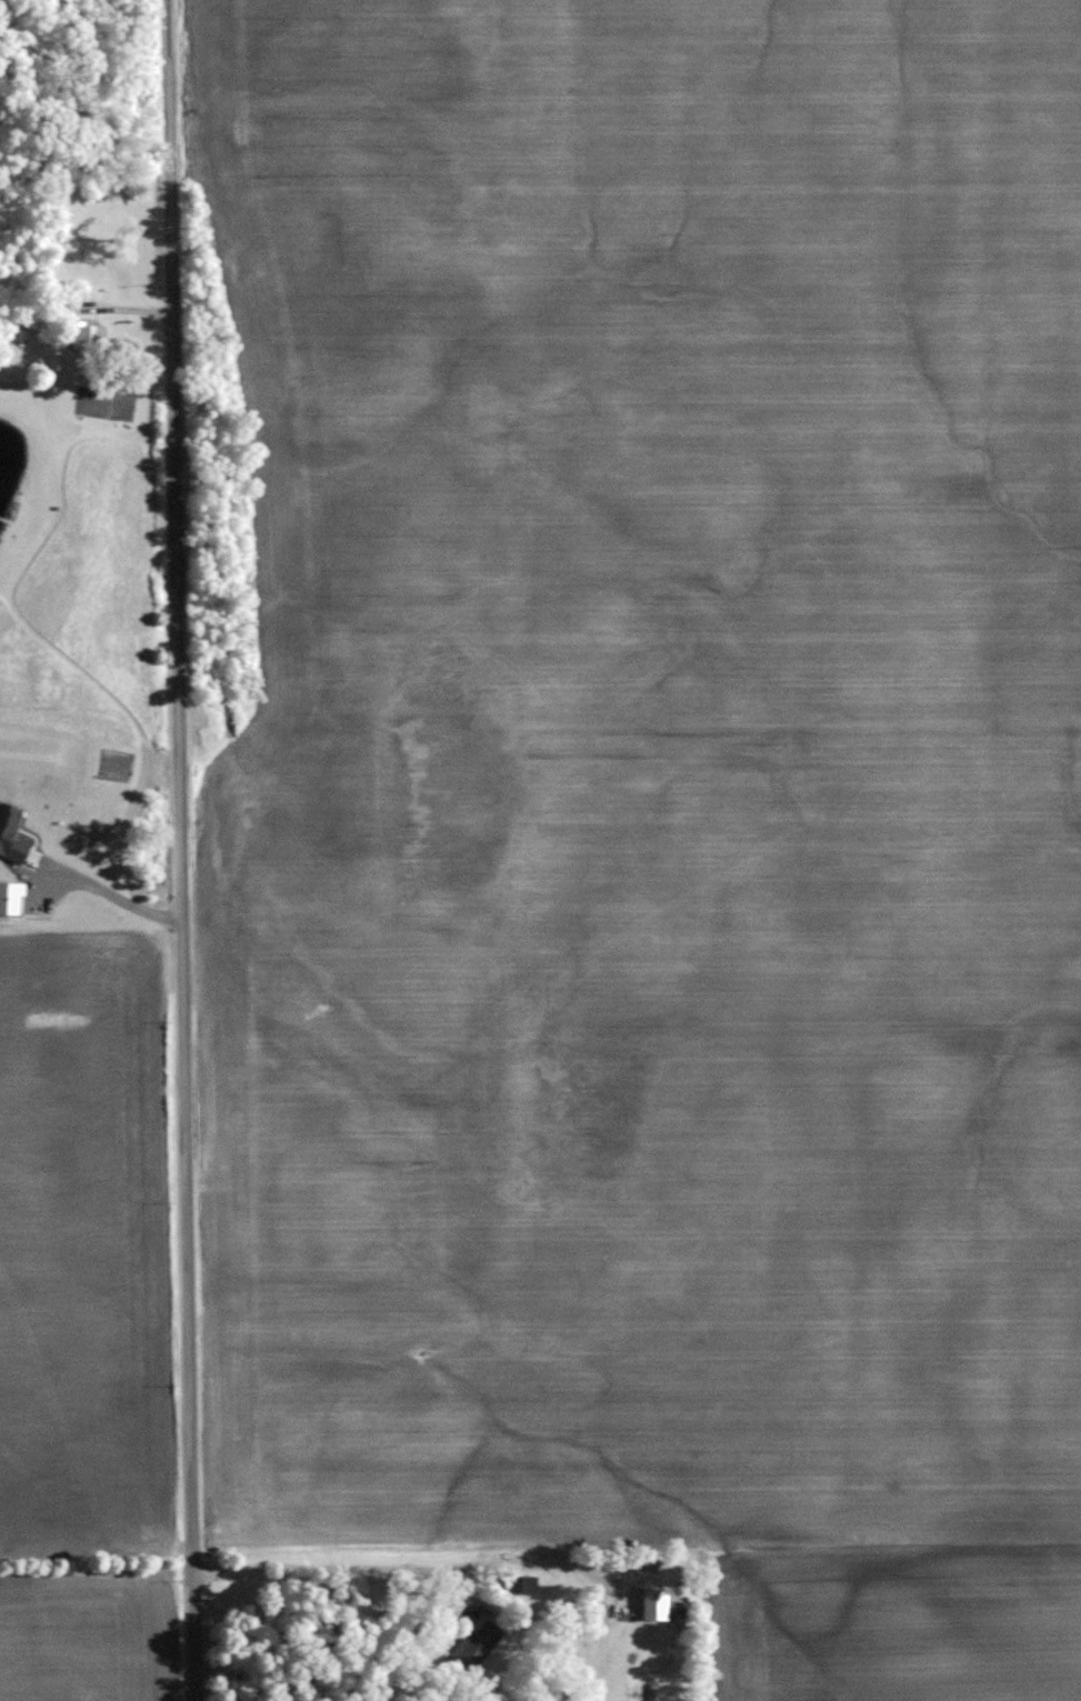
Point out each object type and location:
road: (177, 850)
road: (108, 898)
road: (334, 1569)

